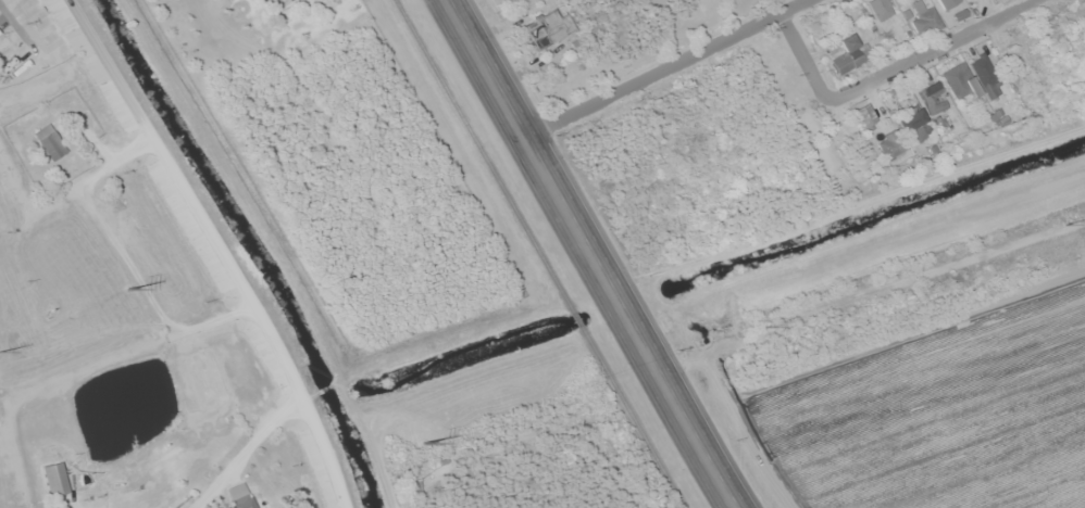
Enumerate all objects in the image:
building: (280, 1)
building: (947, 3)
building: (880, 9)
building: (925, 21)
road: (18, 27)
building: (548, 27)
building: (4, 48)
building: (846, 53)
road: (663, 67)
road: (888, 74)
building: (985, 75)
building: (959, 81)
building: (932, 99)
building: (864, 115)
building: (912, 119)
building: (49, 141)
building: (891, 147)
road: (210, 250)
railway: (540, 253)
road: (591, 254)
road: (202, 325)
road: (245, 450)
building: (53, 479)
building: (239, 496)
road: (73, 505)

